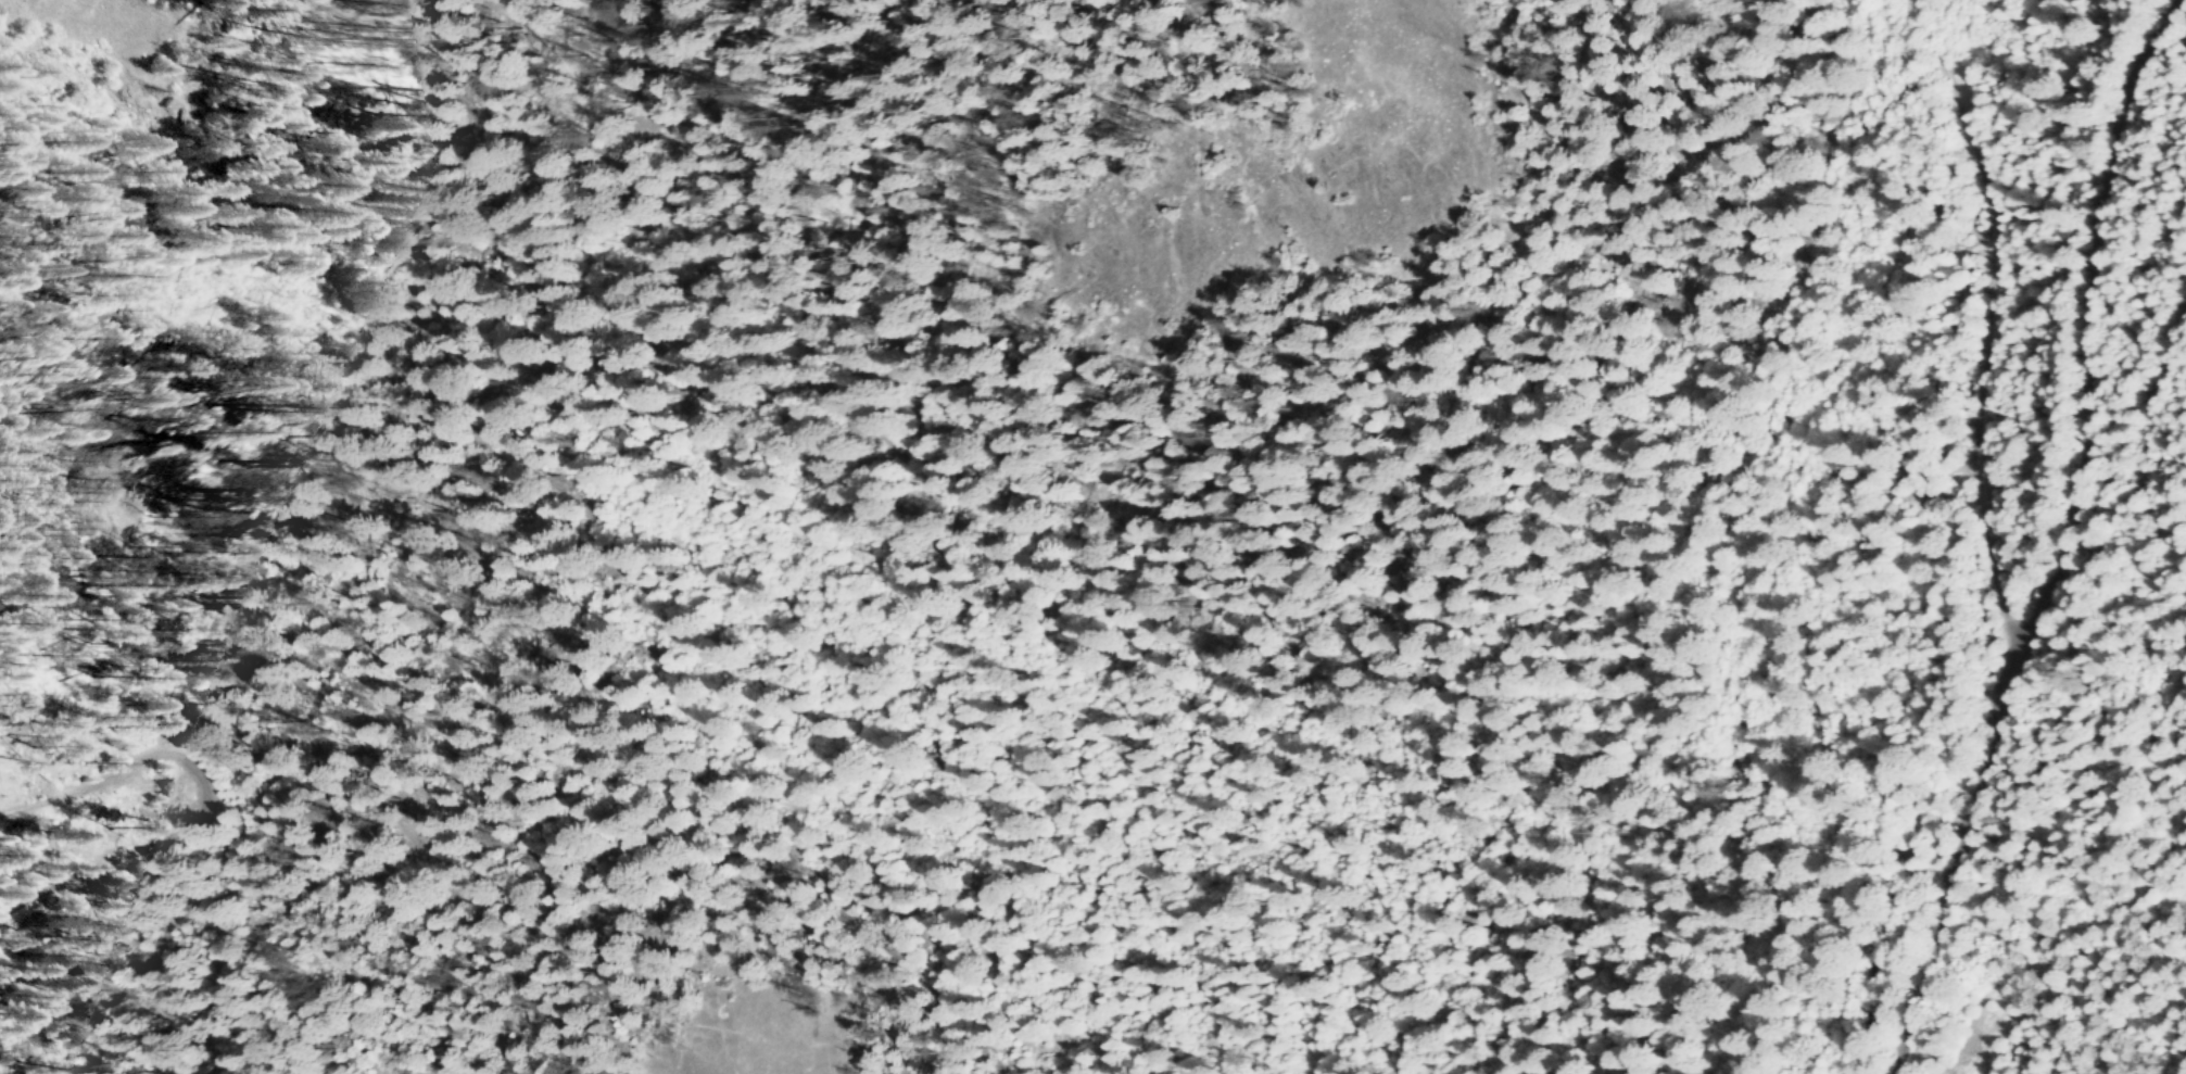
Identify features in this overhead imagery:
road: (1987, 329)
road: (2058, 538)
road: (42, 707)
parking lot: (143, 786)
road: (211, 796)

